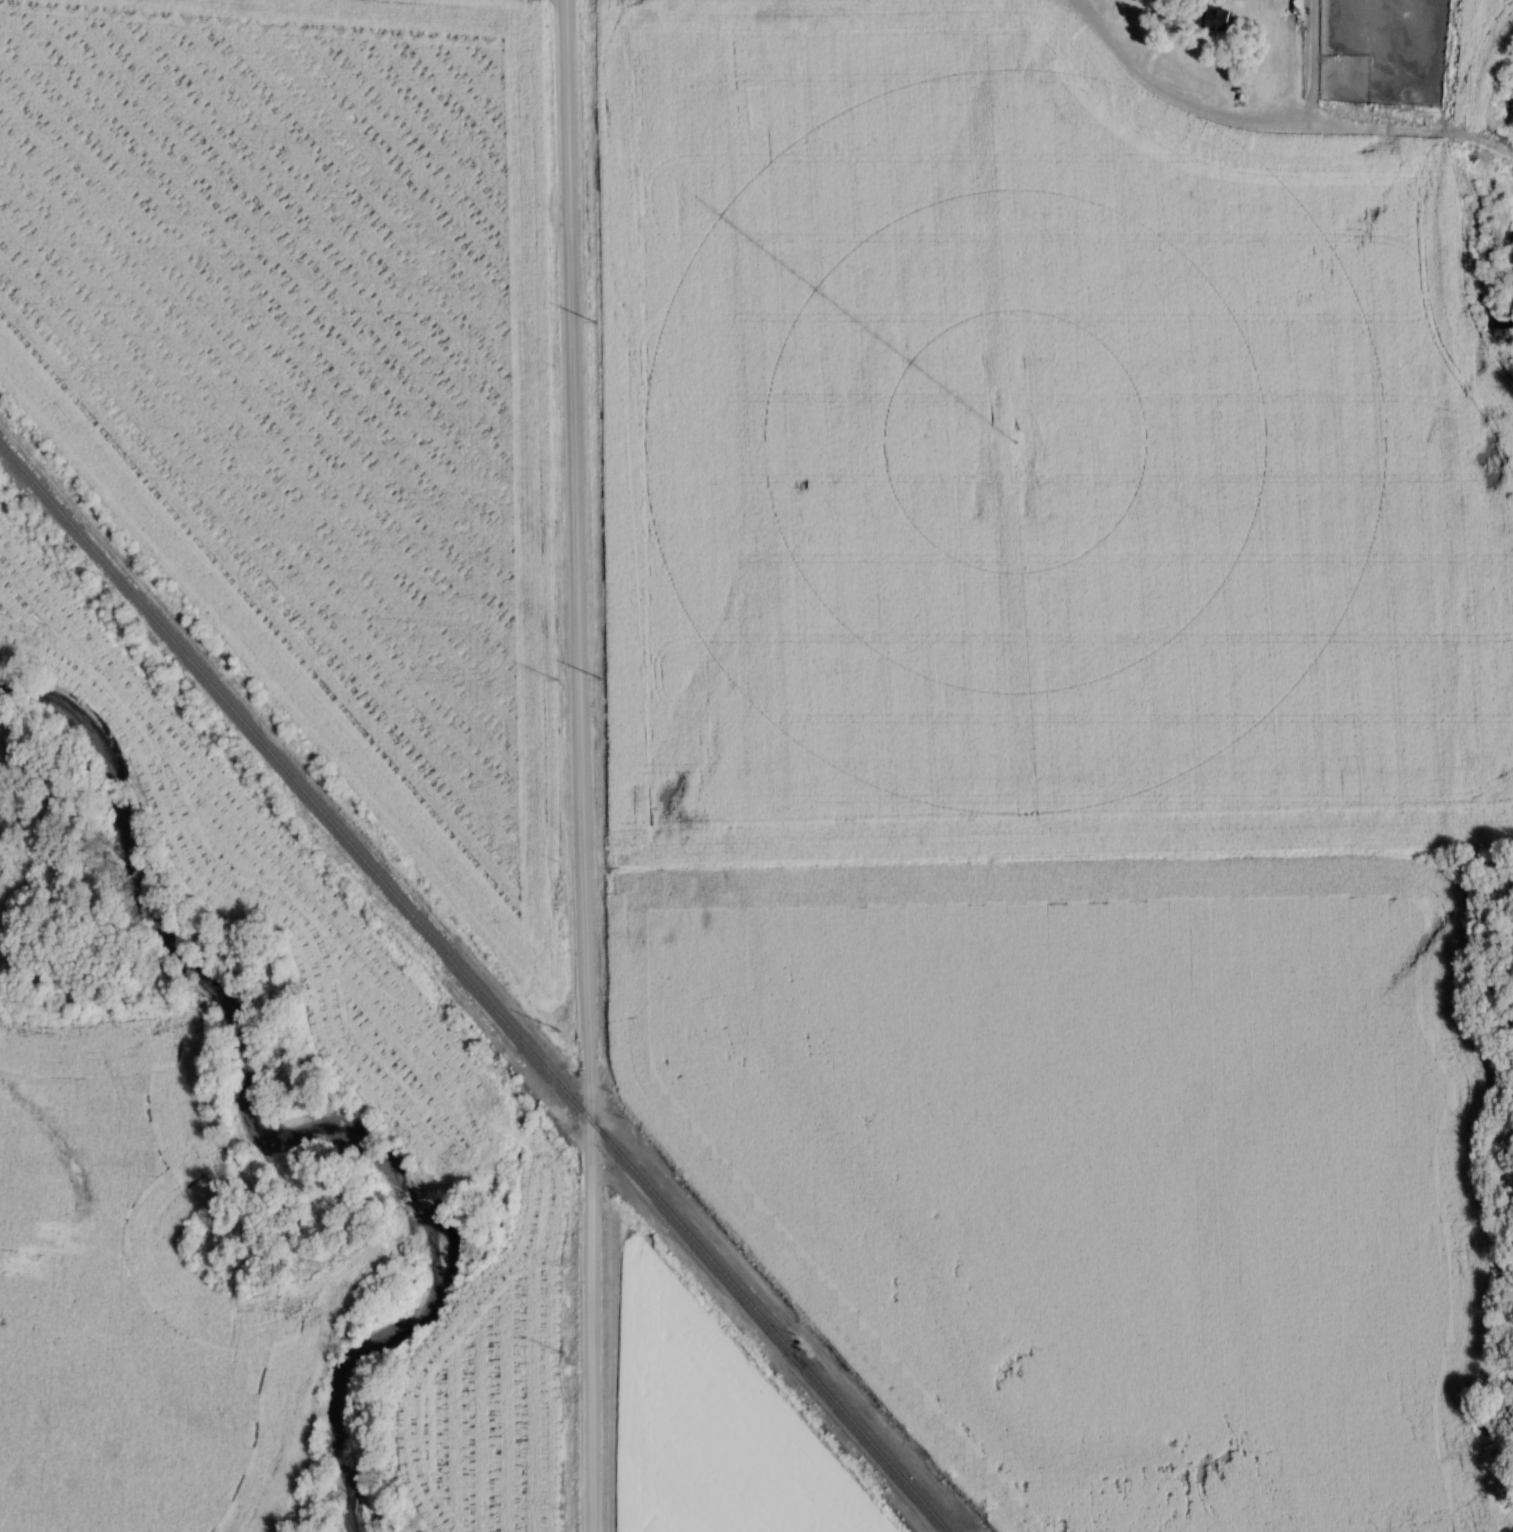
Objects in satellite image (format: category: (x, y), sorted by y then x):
building: (1212, 20)
road: (584, 765)
railway: (467, 1002)
crop: (719, 1424)

